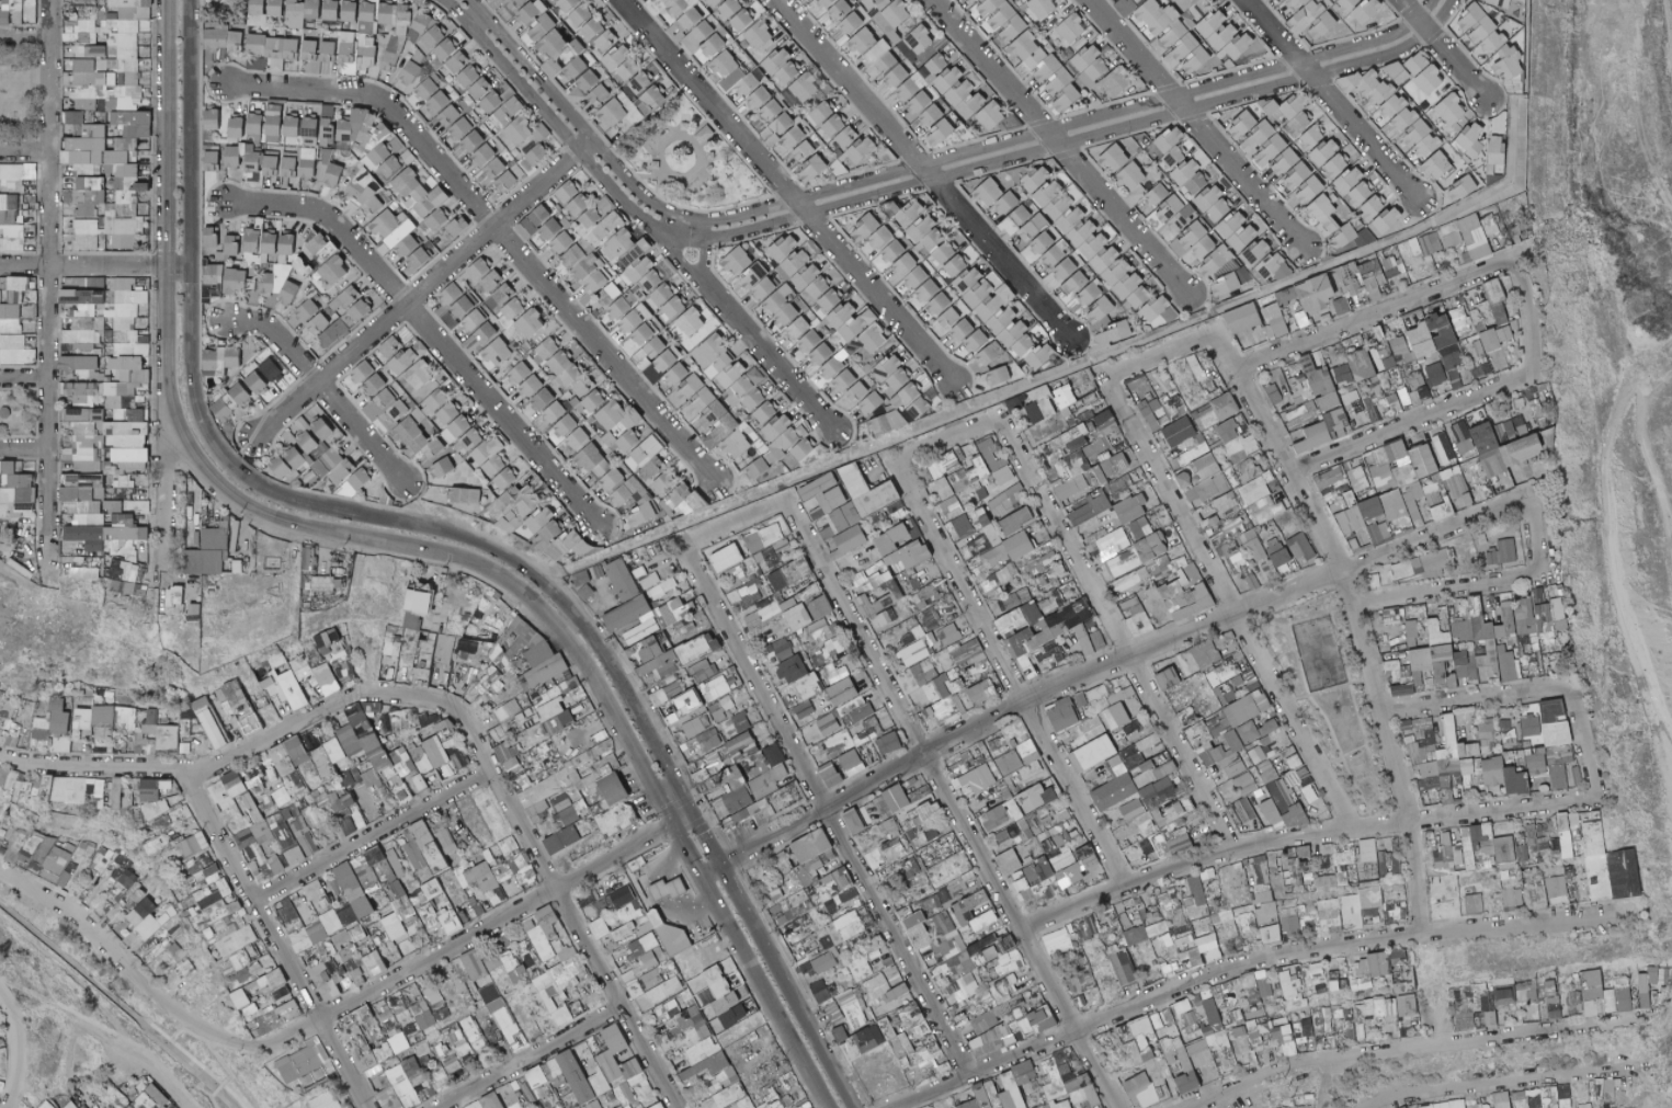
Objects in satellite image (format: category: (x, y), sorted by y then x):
park: (20, 84)
park: (693, 158)
park: (16, 412)
gas station: (675, 888)

